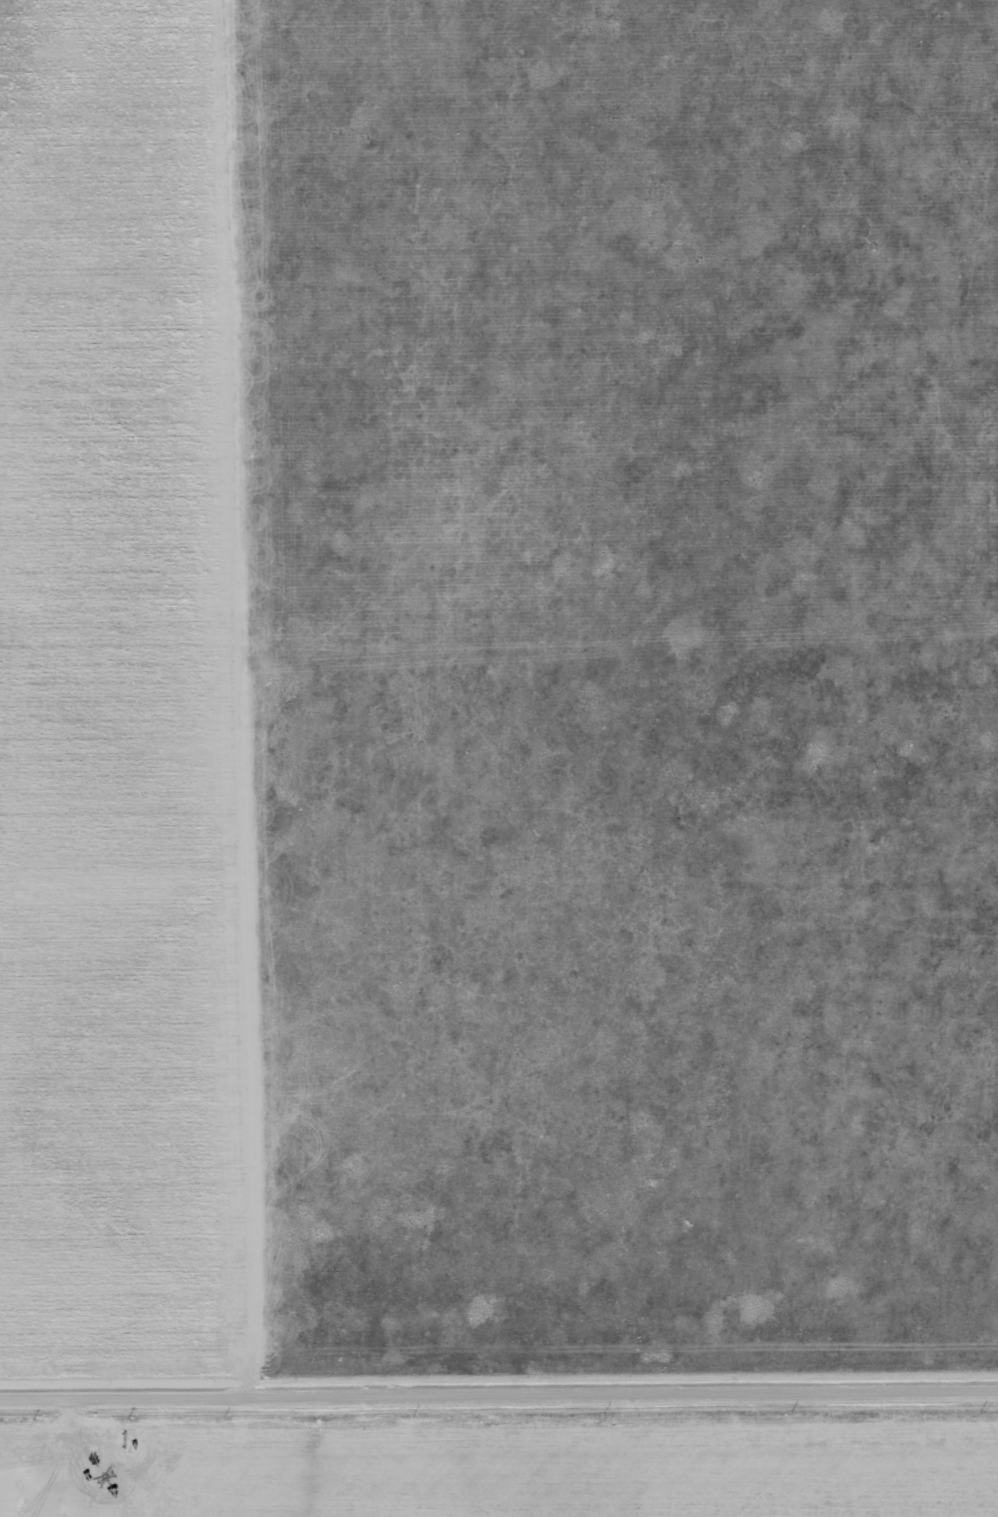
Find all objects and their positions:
road: (499, 1402)

